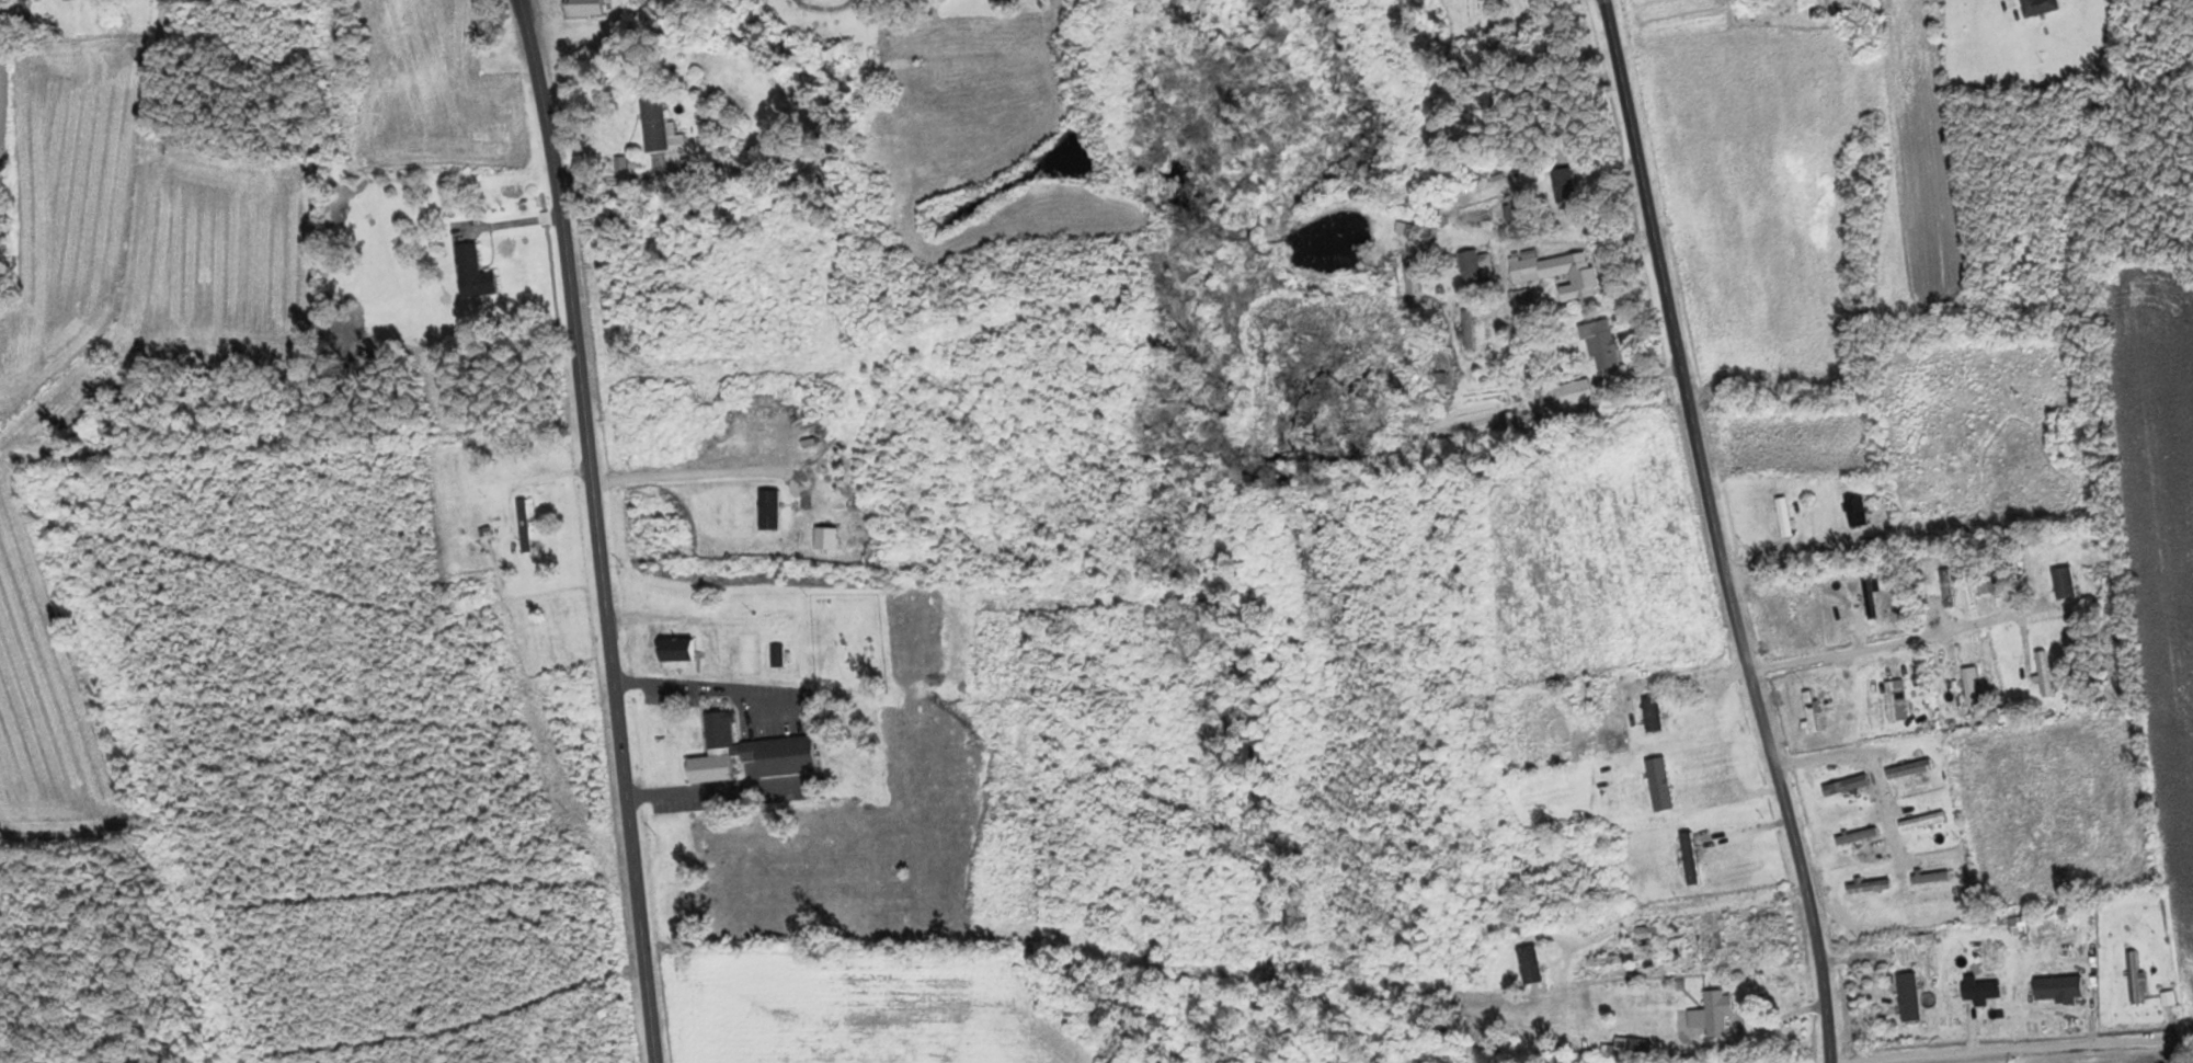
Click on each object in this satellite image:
building: (743, 0)
building: (586, 7)
building: (2037, 7)
building: (18, 9)
road: (1484, 44)
building: (656, 128)
building: (1563, 186)
road: (516, 222)
road: (1922, 231)
road: (135, 249)
building: (470, 272)
building: (1555, 272)
building: (352, 341)
building: (1599, 344)
building: (1562, 395)
building: (1854, 511)
building: (1782, 516)
building: (523, 525)
road: (598, 529)
road: (1716, 533)
building: (2063, 582)
building: (1945, 587)
building: (1869, 597)
building: (1790, 614)
building: (674, 649)
road: (1847, 652)
building: (775, 655)
road: (1943, 667)
building: (2043, 673)
building: (1969, 687)
building: (1889, 700)
building: (1808, 710)
building: (1652, 712)
road: (1958, 713)
building: (745, 752)
road: (1876, 768)
building: (1908, 768)
building: (1658, 784)
building: (1844, 785)
building: (1921, 820)
building: (1857, 835)
building: (1689, 857)
building: (1930, 877)
building: (1869, 885)
building: (1643, 936)
building: (1703, 939)
building: (1529, 964)
building: (2057, 983)
building: (1976, 988)
building: (1908, 996)
building: (1714, 1013)

